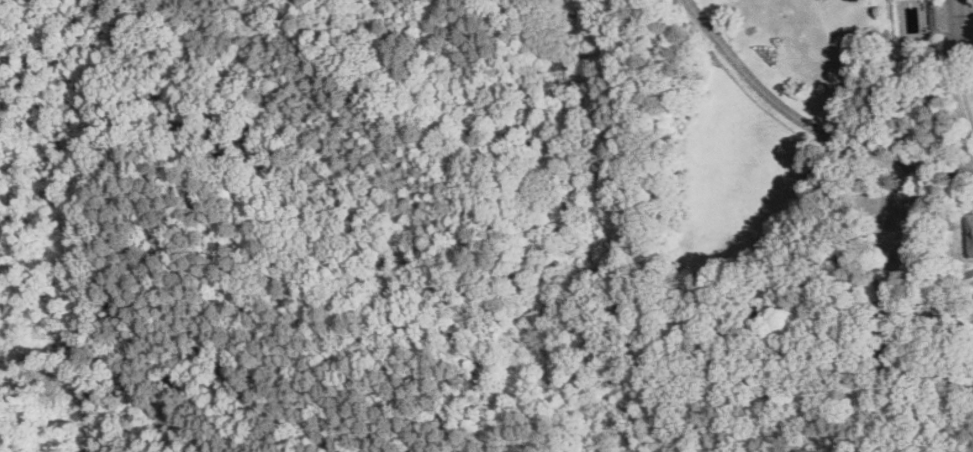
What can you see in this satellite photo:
building: (938, 15)
road: (788, 113)

